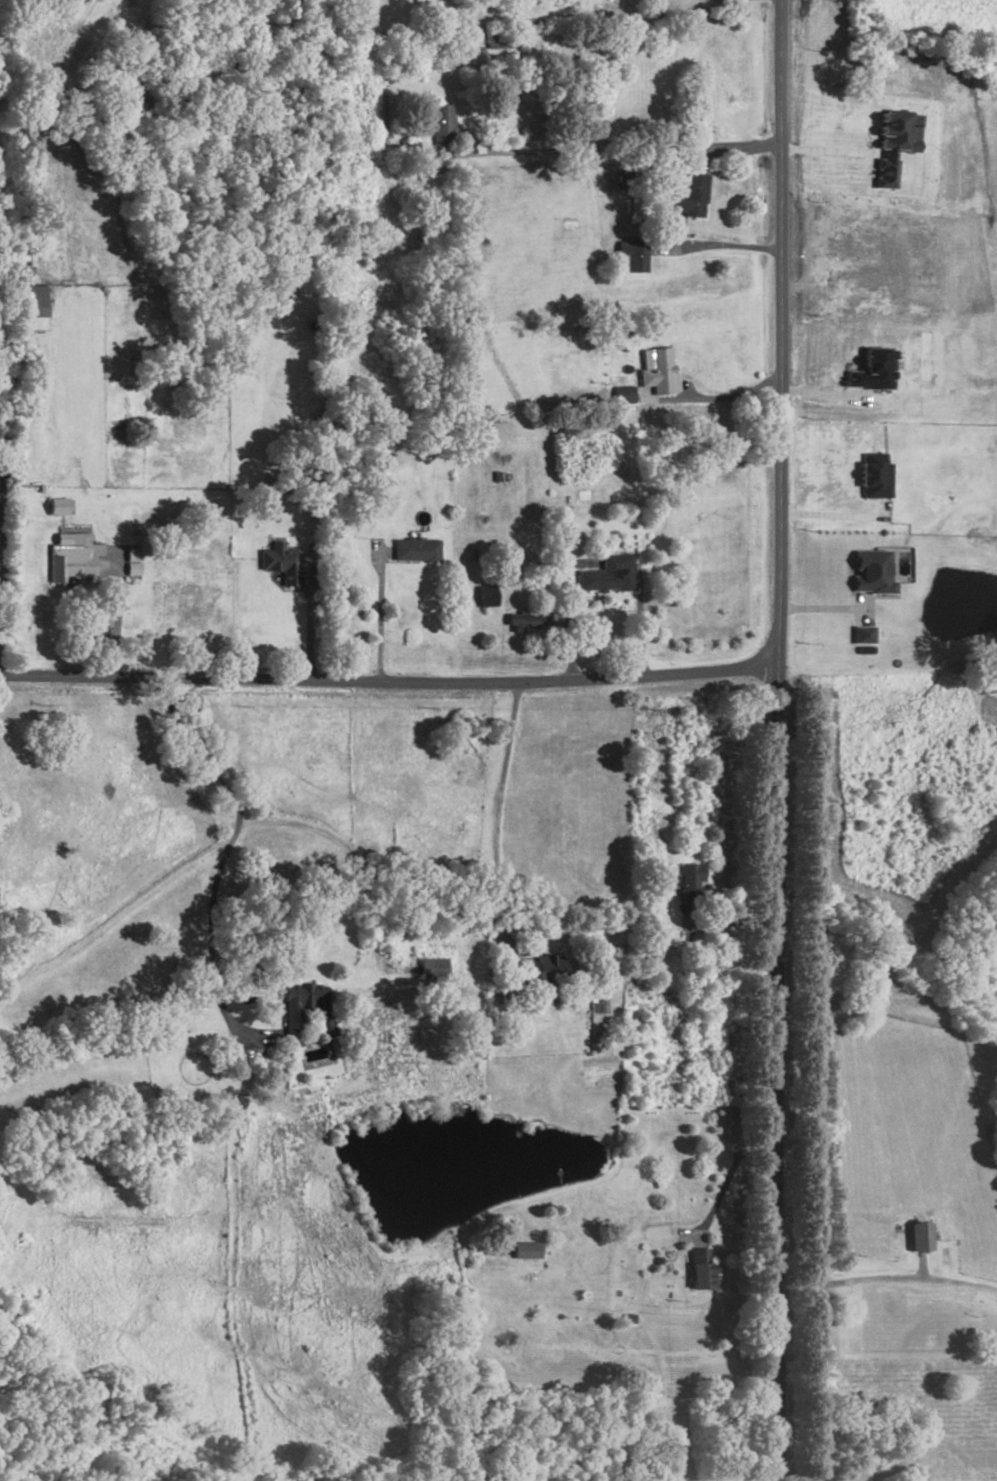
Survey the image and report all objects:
building: (441, 124)
road: (628, 142)
building: (895, 142)
road: (829, 151)
building: (689, 196)
road: (715, 244)
building: (631, 255)
building: (32, 306)
building: (872, 369)
building: (655, 372)
building: (623, 394)
road: (725, 399)
building: (874, 476)
building: (57, 506)
road: (836, 515)
building: (413, 551)
building: (131, 561)
building: (68, 563)
building: (279, 565)
building: (872, 572)
building: (606, 575)
building: (484, 597)
road: (115, 613)
road: (377, 614)
road: (307, 617)
road: (565, 617)
building: (524, 623)
road: (638, 625)
building: (863, 634)
road: (388, 681)
road: (777, 740)
road: (498, 816)
road: (348, 852)
road: (222, 865)
building: (687, 886)
road: (732, 923)
building: (601, 958)
building: (430, 972)
building: (537, 974)
building: (289, 1023)
pier: (373, 1122)
pier: (516, 1128)
road: (724, 1180)
pier: (560, 1181)
building: (914, 1238)
building: (523, 1251)
road: (918, 1268)
building: (697, 1274)
road: (887, 1279)

